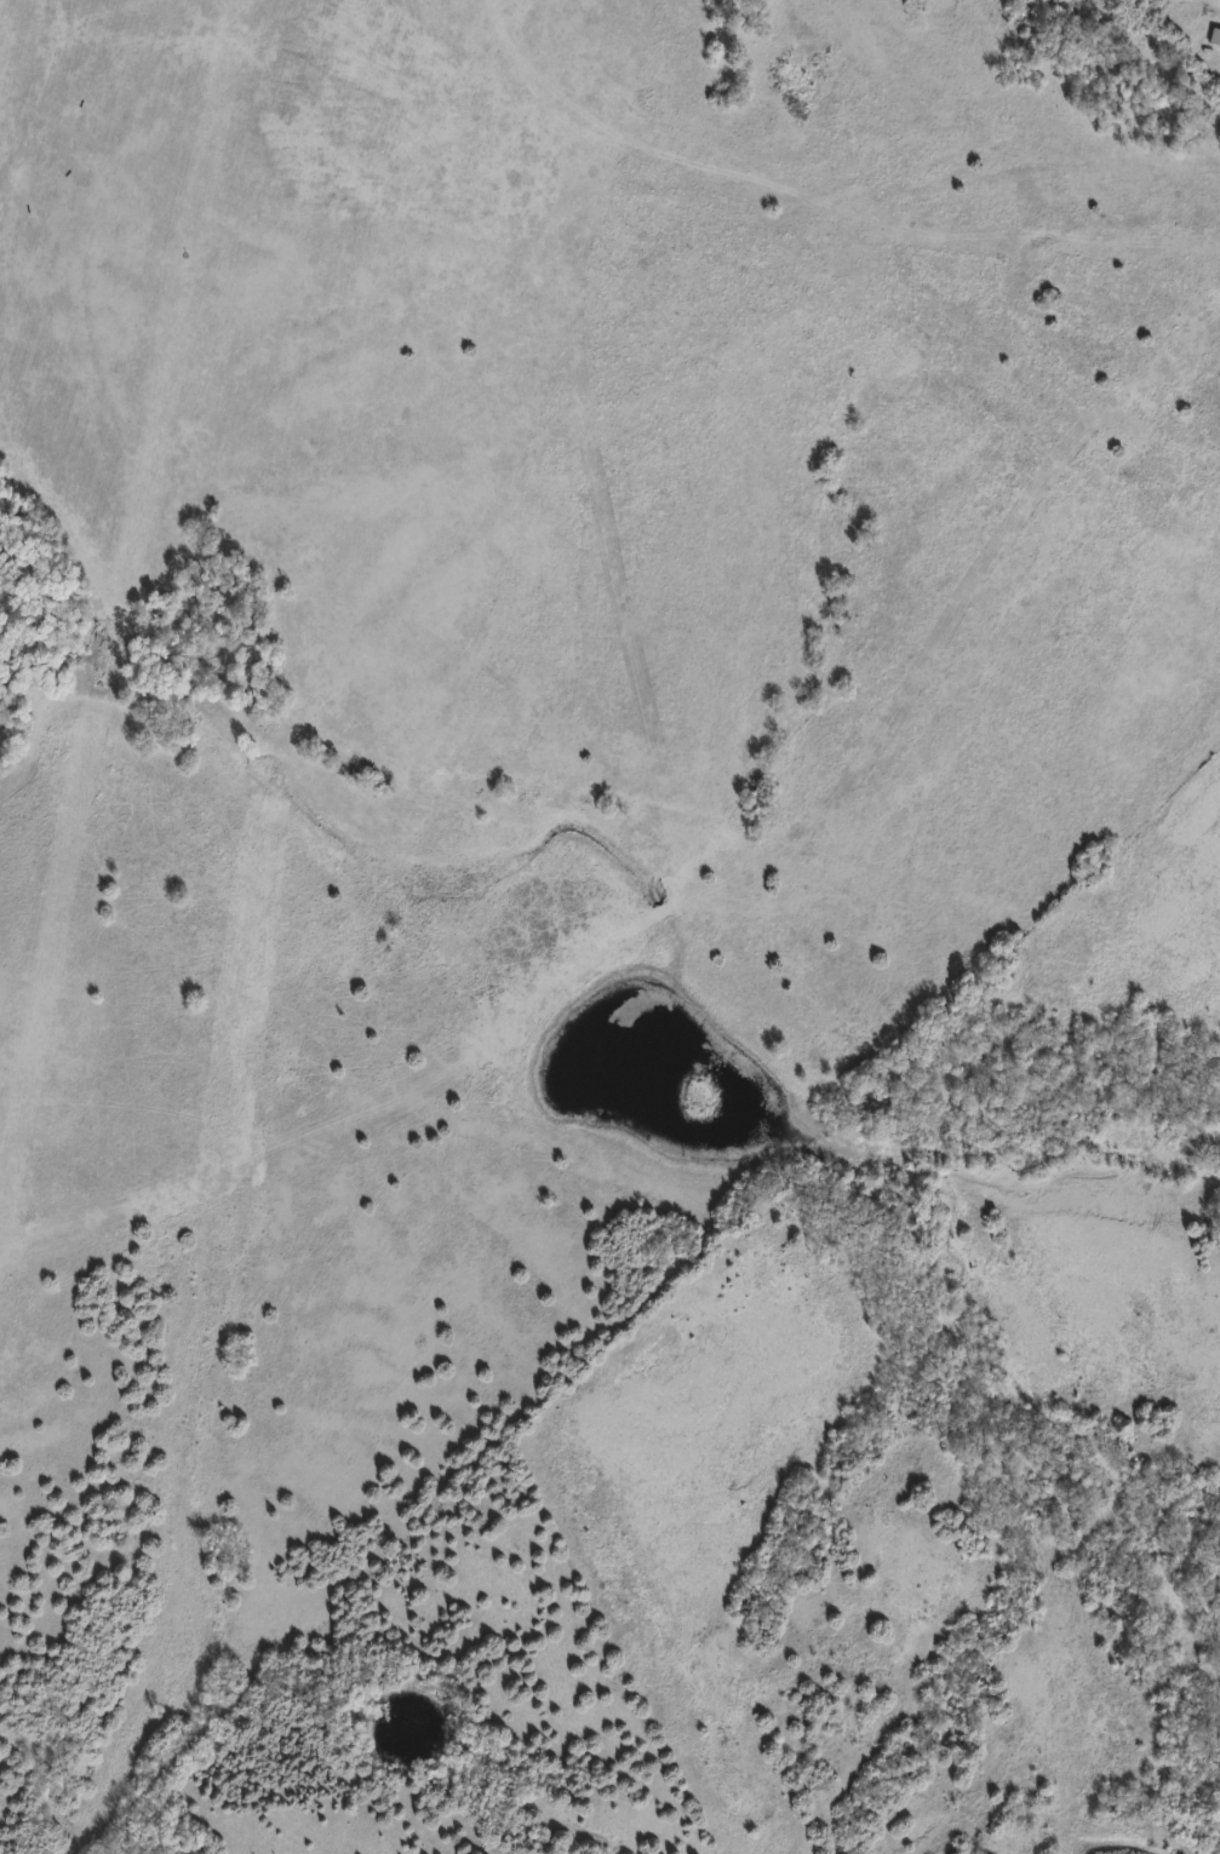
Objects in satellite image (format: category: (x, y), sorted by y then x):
building: (1215, 39)

